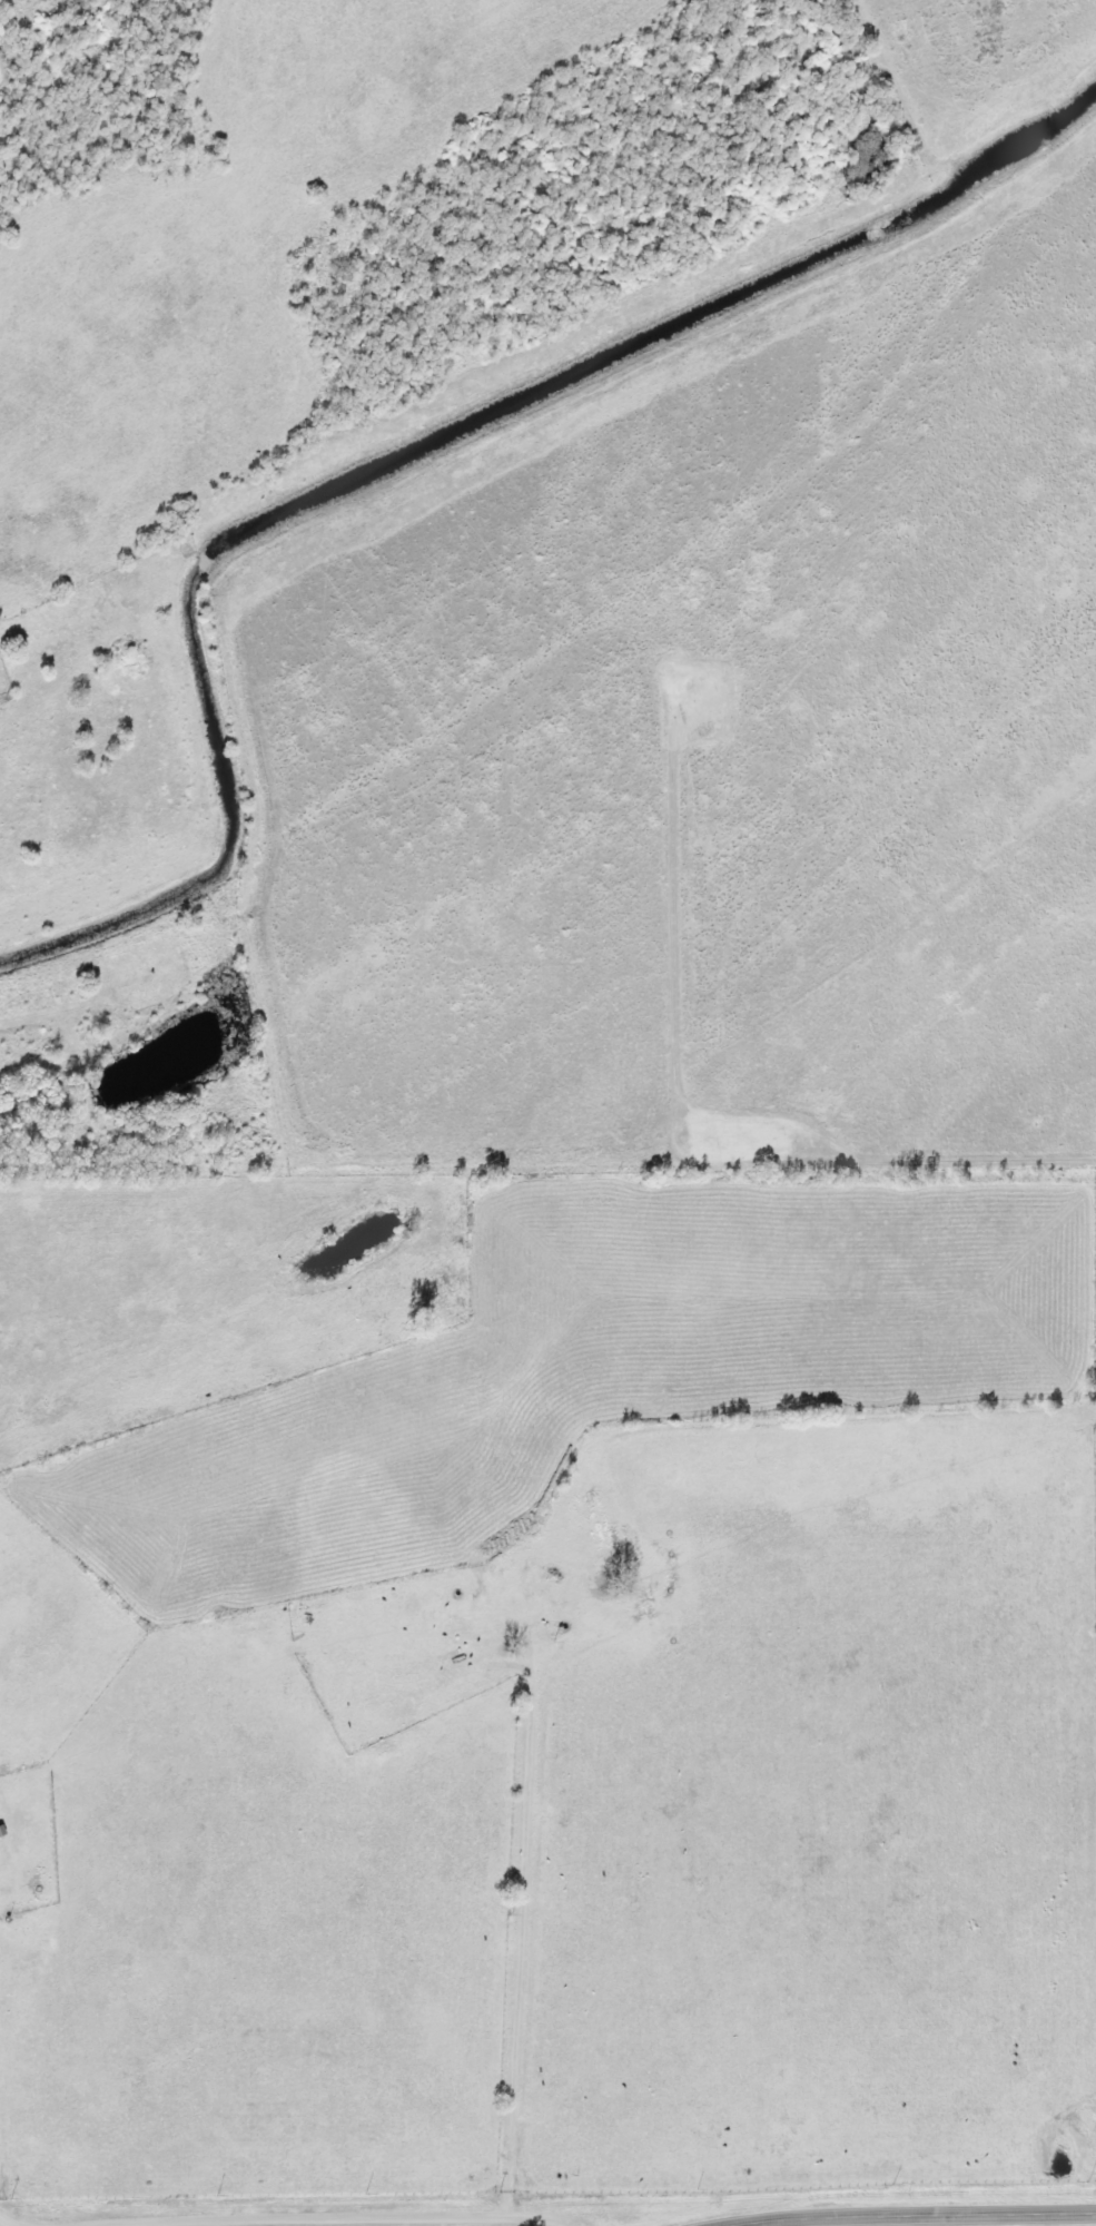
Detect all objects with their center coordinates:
road: (670, 904)
road: (825, 1139)
road: (978, 1159)
road: (890, 2212)
road: (328, 2217)
road: (4, 2222)

